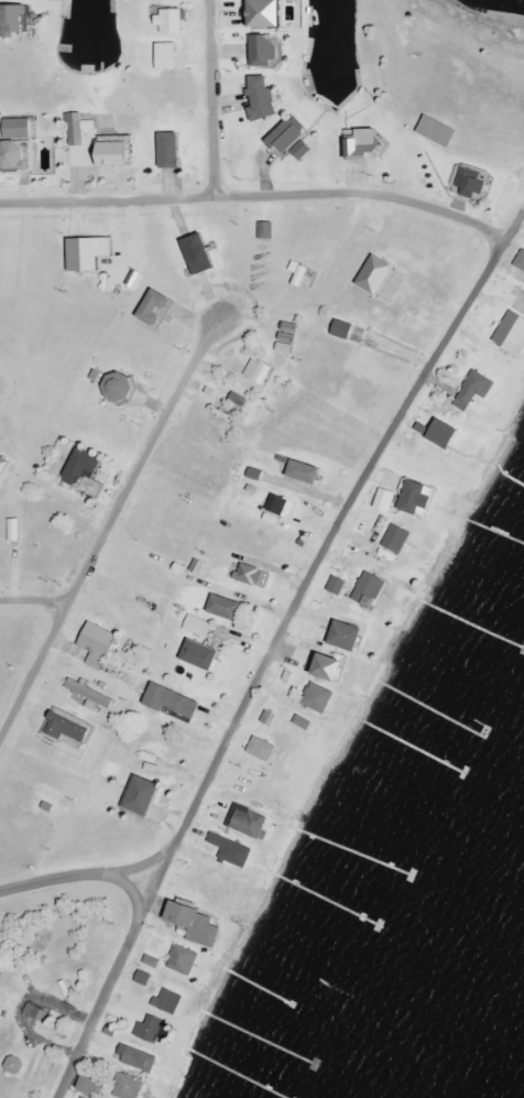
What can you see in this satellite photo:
building: (64, 0)
building: (269, 13)
building: (14, 21)
building: (171, 22)
building: (265, 52)
building: (168, 56)
road: (215, 96)
building: (263, 99)
building: (19, 130)
building: (437, 131)
building: (290, 137)
building: (368, 145)
building: (172, 151)
building: (305, 151)
building: (13, 154)
building: (118, 154)
building: (472, 183)
road: (256, 192)
building: (266, 231)
building: (89, 253)
building: (200, 256)
building: (520, 263)
building: (301, 275)
building: (375, 275)
building: (156, 309)
building: (343, 330)
building: (512, 334)
building: (259, 371)
road: (1, 381)
building: (248, 383)
building: (120, 387)
building: (473, 390)
building: (440, 433)
building: (84, 467)
building: (4, 468)
building: (306, 471)
pier: (510, 477)
building: (416, 498)
building: (385, 500)
building: (284, 505)
road: (108, 526)
building: (14, 530)
pier: (496, 531)
building: (396, 539)
building: (251, 575)
building: (337, 585)
building: (369, 587)
road: (36, 598)
building: (227, 608)
pier: (473, 626)
building: (198, 627)
building: (348, 635)
building: (98, 644)
road: (269, 654)
building: (201, 655)
building: (334, 667)
building: (91, 696)
building: (318, 698)
building: (174, 703)
pier: (433, 710)
building: (68, 728)
pier: (408, 744)
building: (261, 749)
building: (143, 795)
building: (232, 851)
pier: (352, 851)
road: (80, 872)
pier: (327, 899)
building: (196, 924)
building: (183, 960)
building: (152, 961)
building: (143, 978)
pier: (256, 987)
building: (167, 1001)
building: (37, 1013)
building: (150, 1030)
building: (165, 1034)
pier: (256, 1037)
building: (138, 1059)
pier: (236, 1073)
building: (91, 1086)
building: (128, 1087)
building: (81, 1097)

